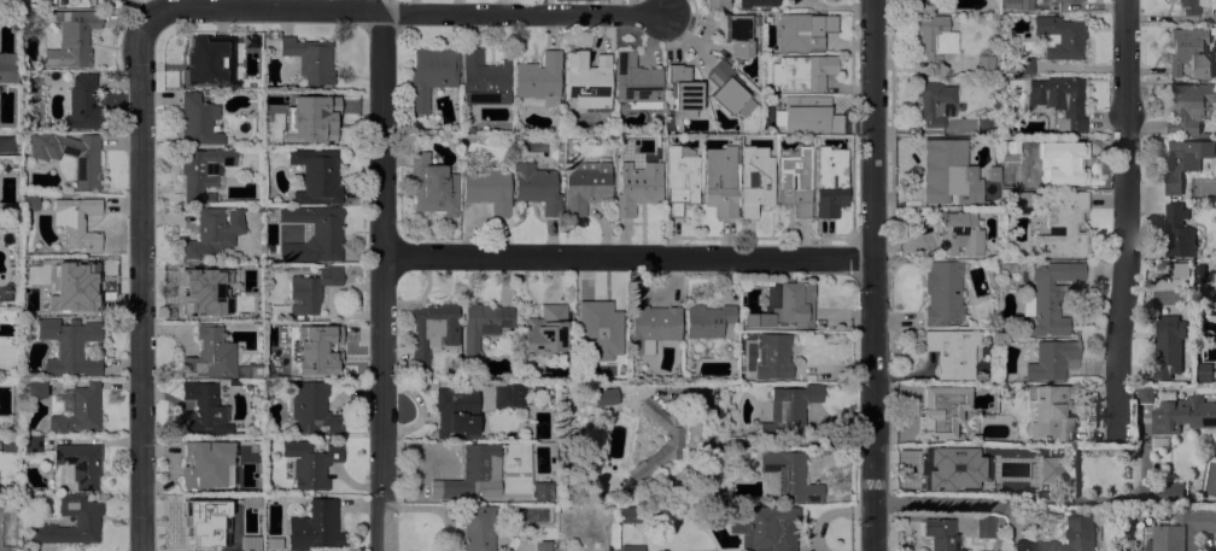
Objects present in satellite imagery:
building: (1066, 1)
building: (756, 2)
building: (715, 4)
building: (1018, 4)
building: (933, 5)
building: (1191, 6)
road: (403, 12)
building: (24, 16)
building: (803, 31)
building: (733, 34)
building: (935, 36)
building: (71, 37)
building: (1059, 37)
building: (1189, 52)
building: (310, 58)
building: (210, 59)
building: (984, 63)
building: (1024, 65)
building: (8, 66)
building: (802, 72)
building: (429, 76)
building: (539, 78)
building: (484, 80)
building: (223, 81)
building: (587, 81)
building: (636, 82)
building: (683, 90)
building: (727, 90)
building: (1059, 100)
building: (933, 102)
building: (82, 104)
building: (1188, 106)
building: (808, 116)
building: (314, 121)
building: (469, 121)
building: (198, 122)
building: (984, 124)
building: (452, 137)
building: (1005, 142)
building: (6, 145)
building: (1057, 158)
building: (1183, 160)
building: (86, 165)
building: (203, 171)
building: (949, 174)
building: (316, 176)
building: (680, 178)
building: (755, 180)
building: (720, 181)
building: (795, 181)
building: (830, 181)
building: (585, 186)
building: (432, 187)
building: (487, 187)
building: (637, 187)
building: (537, 188)
building: (1019, 198)
building: (29, 201)
building: (76, 222)
road: (1128, 222)
building: (1063, 225)
building: (326, 230)
building: (1179, 231)
building: (211, 233)
building: (958, 234)
building: (1009, 251)
road: (626, 257)
building: (1179, 270)
road: (872, 275)
road: (380, 280)
road: (139, 286)
building: (87, 287)
building: (2, 289)
building: (308, 292)
building: (942, 292)
building: (197, 293)
building: (1052, 297)
building: (784, 306)
building: (707, 321)
building: (483, 324)
building: (653, 326)
building: (432, 329)
building: (545, 330)
building: (601, 330)
building: (1001, 332)
building: (69, 345)
building: (1168, 345)
building: (314, 350)
building: (952, 352)
building: (772, 356)
building: (216, 358)
building: (1051, 359)
building: (1203, 371)
building: (233, 382)
building: (35, 389)
building: (1145, 393)
building: (508, 394)
building: (606, 394)
building: (561, 398)
building: (569, 398)
building: (205, 409)
building: (789, 409)
building: (312, 410)
building: (941, 410)
building: (80, 411)
building: (456, 412)
building: (1048, 412)
building: (1182, 412)
building: (255, 429)
building: (673, 442)
building: (33, 445)
building: (311, 463)
building: (80, 464)
building: (201, 464)
building: (1051, 468)
building: (473, 470)
building: (957, 473)
building: (788, 475)
building: (1006, 482)
building: (542, 491)
building: (1170, 492)
road: (934, 502)
building: (668, 509)
building: (86, 520)
building: (1128, 521)
building: (315, 526)
building: (765, 526)
building: (984, 527)
building: (209, 528)
building: (478, 528)
building: (1180, 531)
building: (941, 534)
building: (1066, 537)
building: (274, 544)
building: (542, 546)
building: (632, 549)

